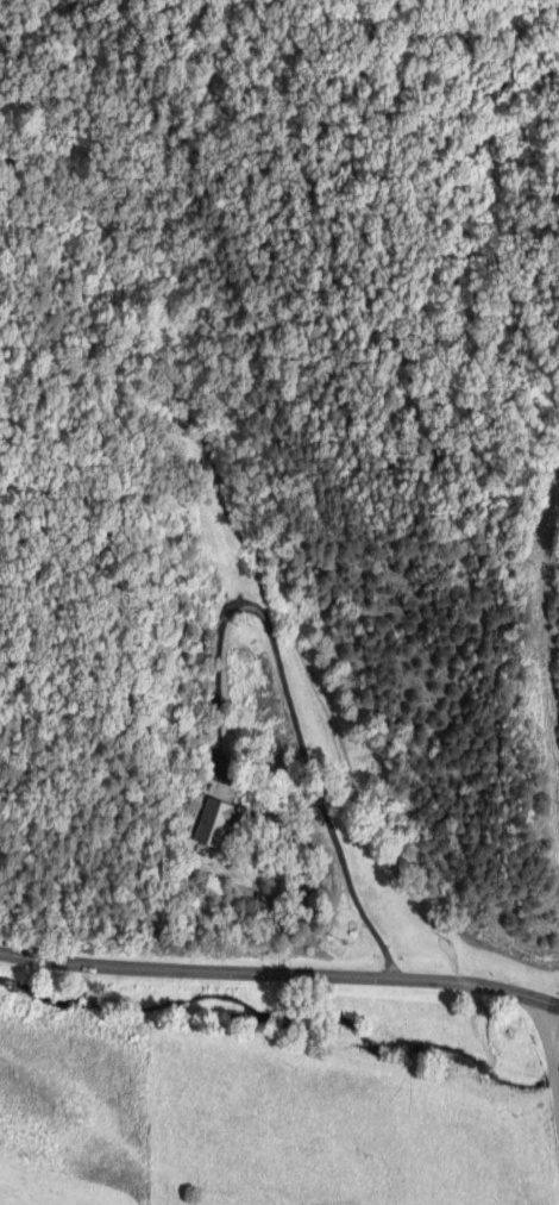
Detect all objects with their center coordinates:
road: (289, 694)
building: (212, 820)
road: (277, 974)
road: (557, 1003)
road: (554, 1034)

